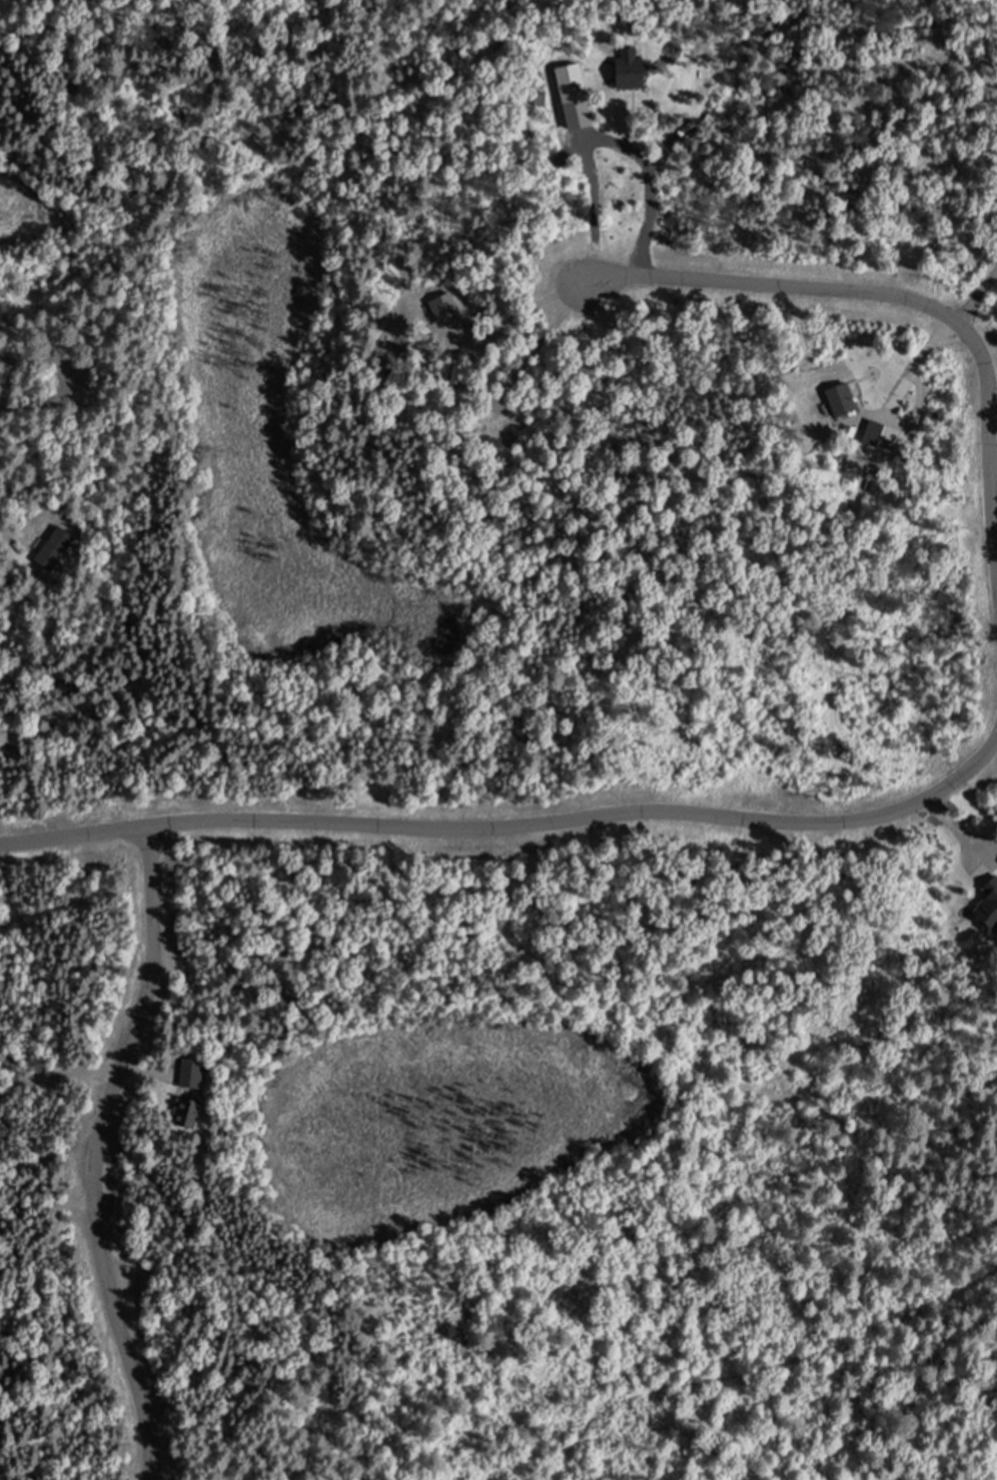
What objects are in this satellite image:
building: (633, 71)
building: (585, 117)
road: (907, 297)
building: (884, 435)
road: (511, 826)
building: (194, 1073)
building: (189, 1113)
road: (95, 1150)

